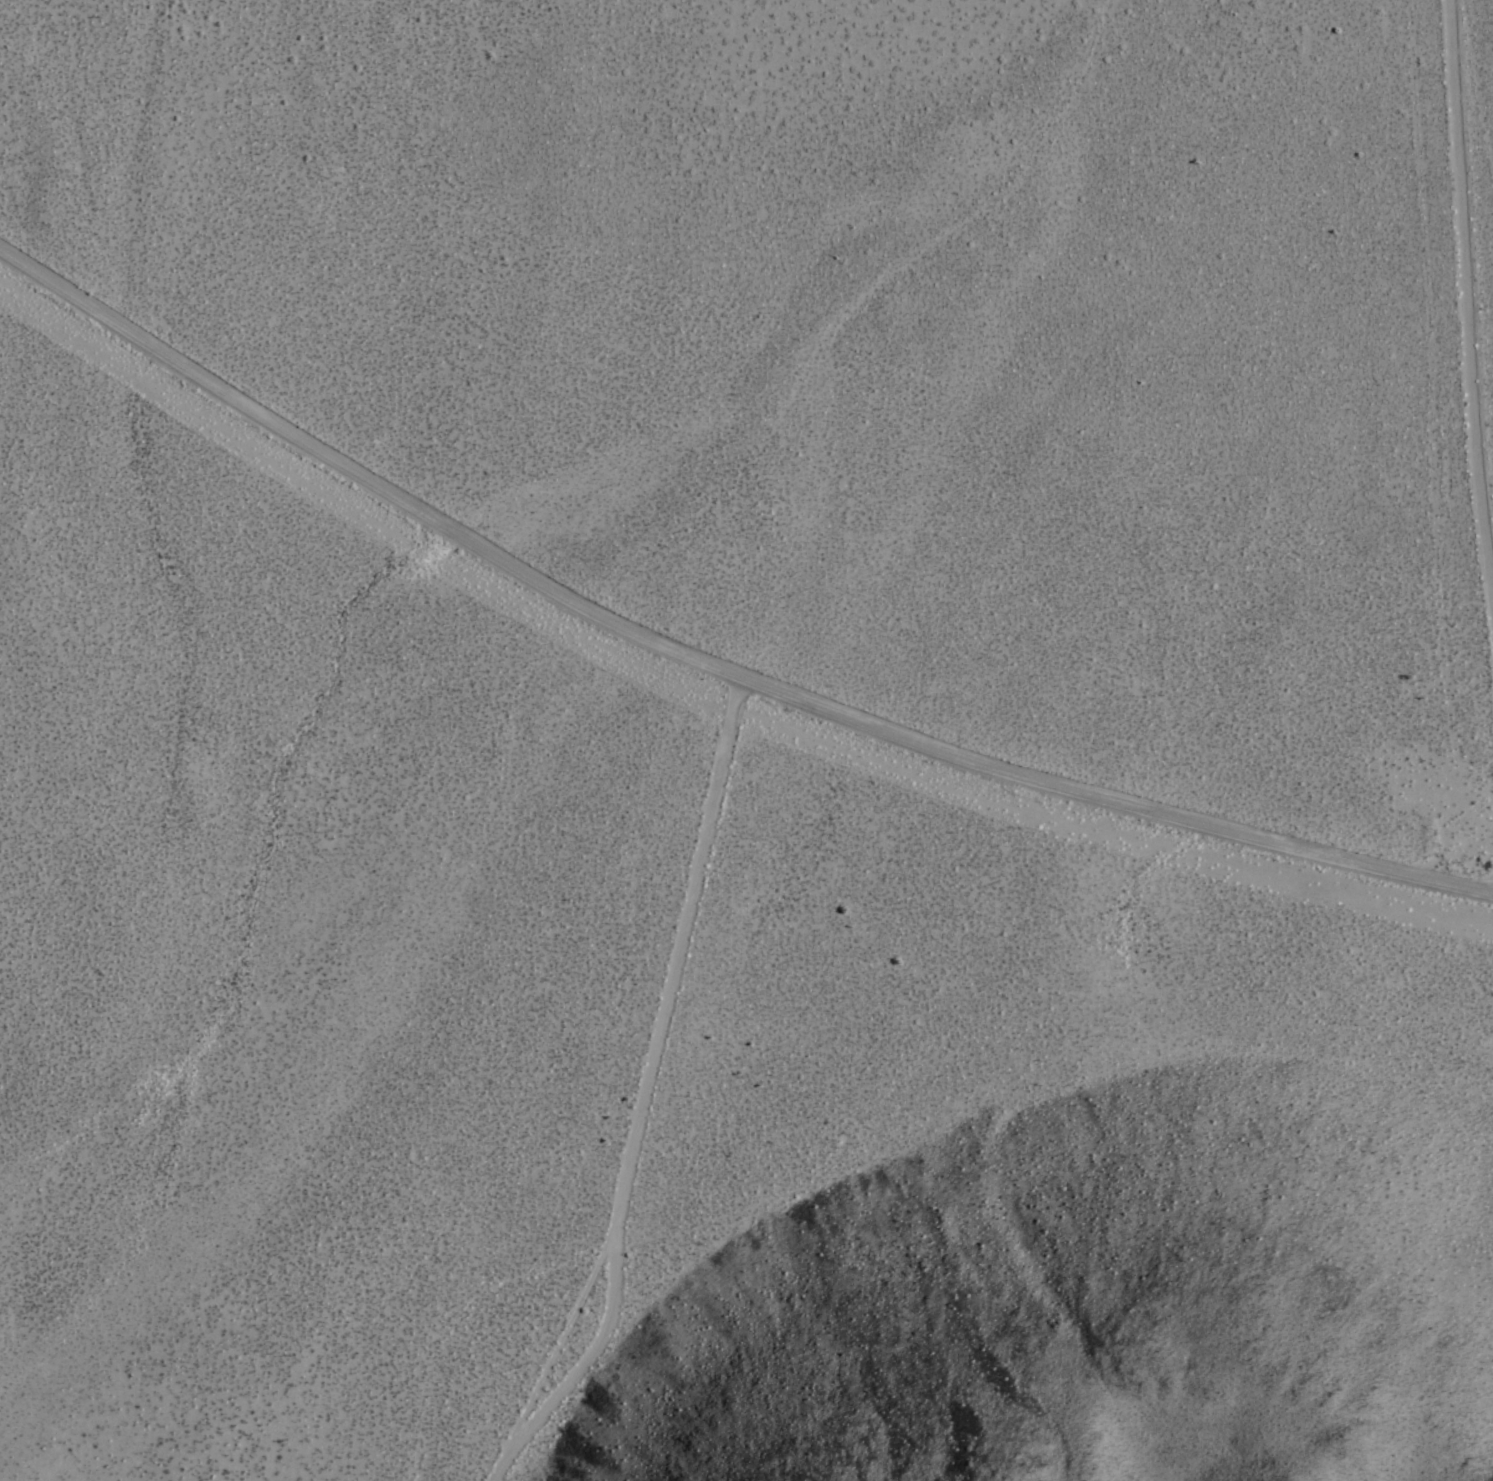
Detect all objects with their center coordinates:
road: (707, 663)
road: (644, 1096)

